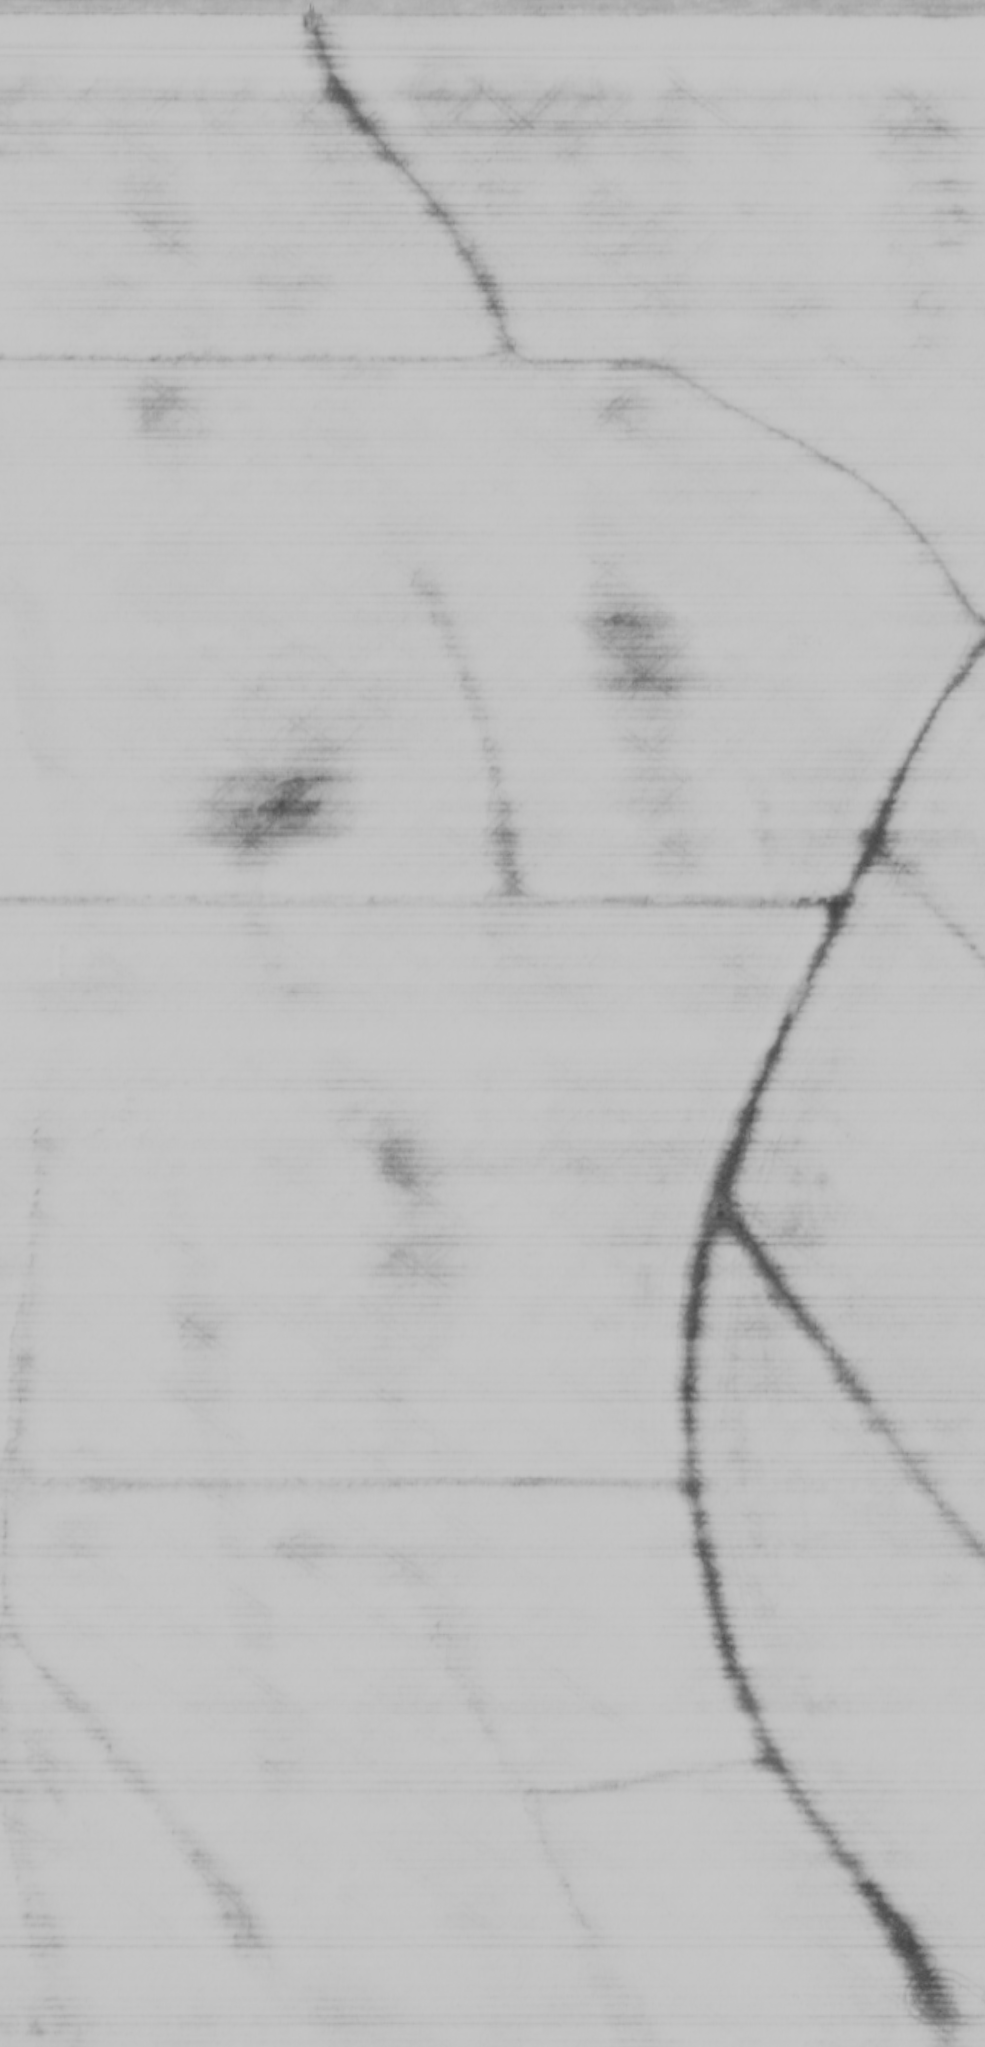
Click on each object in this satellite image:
crop: (492, 1028)

